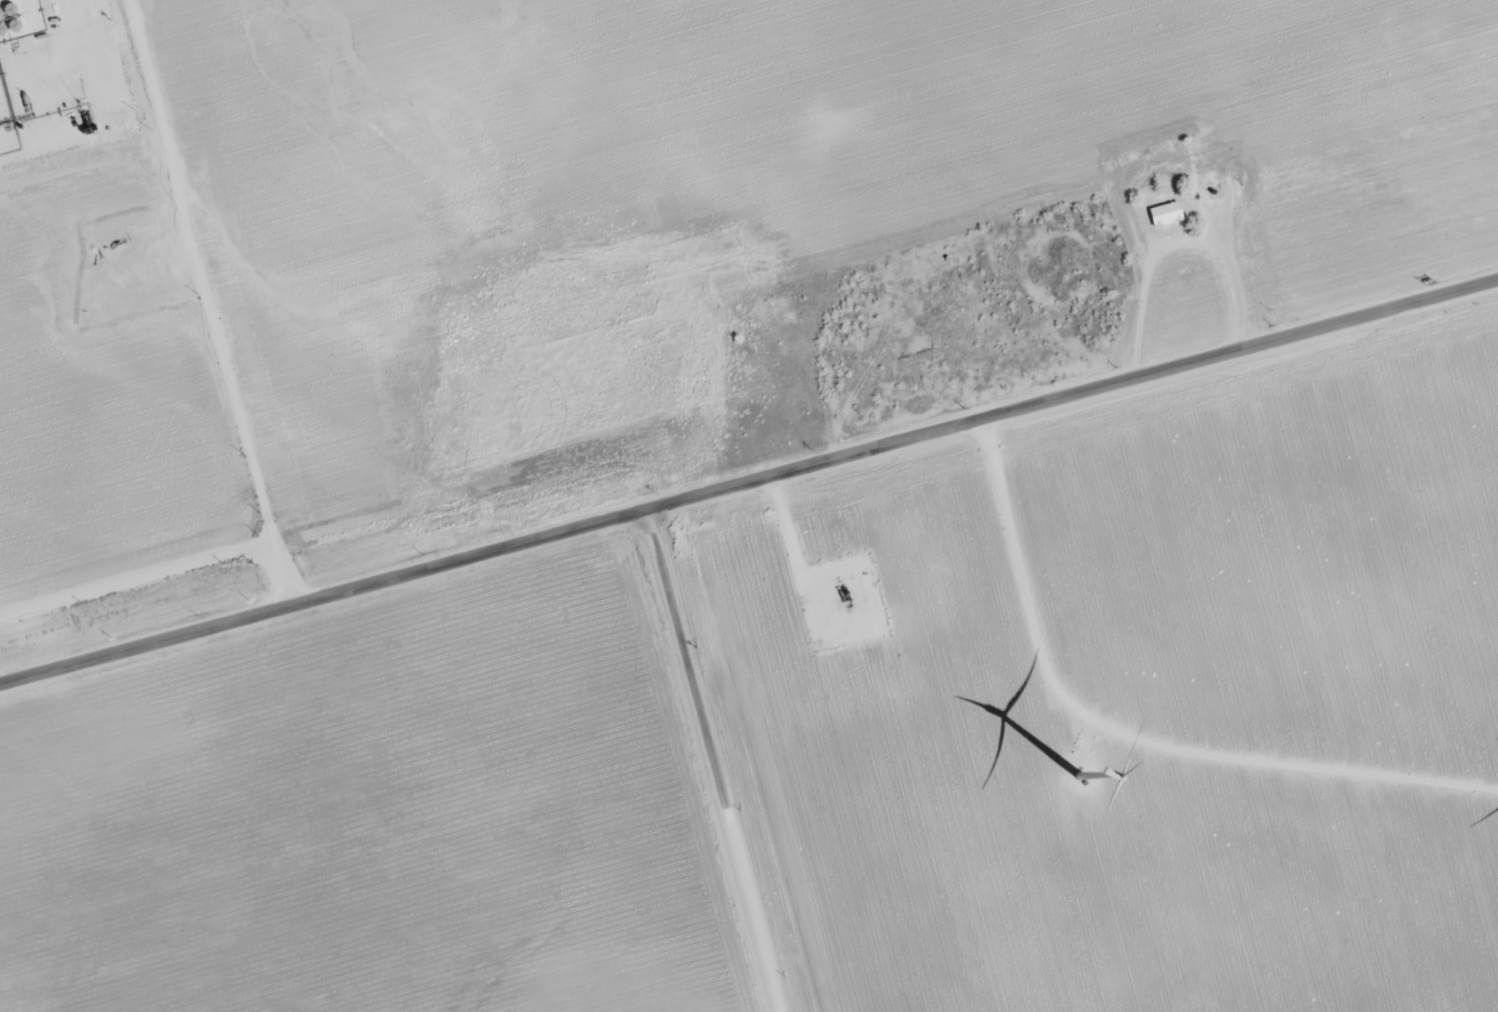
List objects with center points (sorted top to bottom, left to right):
road: (70, 11)
building: (1165, 214)
road: (198, 275)
road: (749, 489)
road: (162, 571)
road: (709, 763)
wind turbine: (1078, 774)

